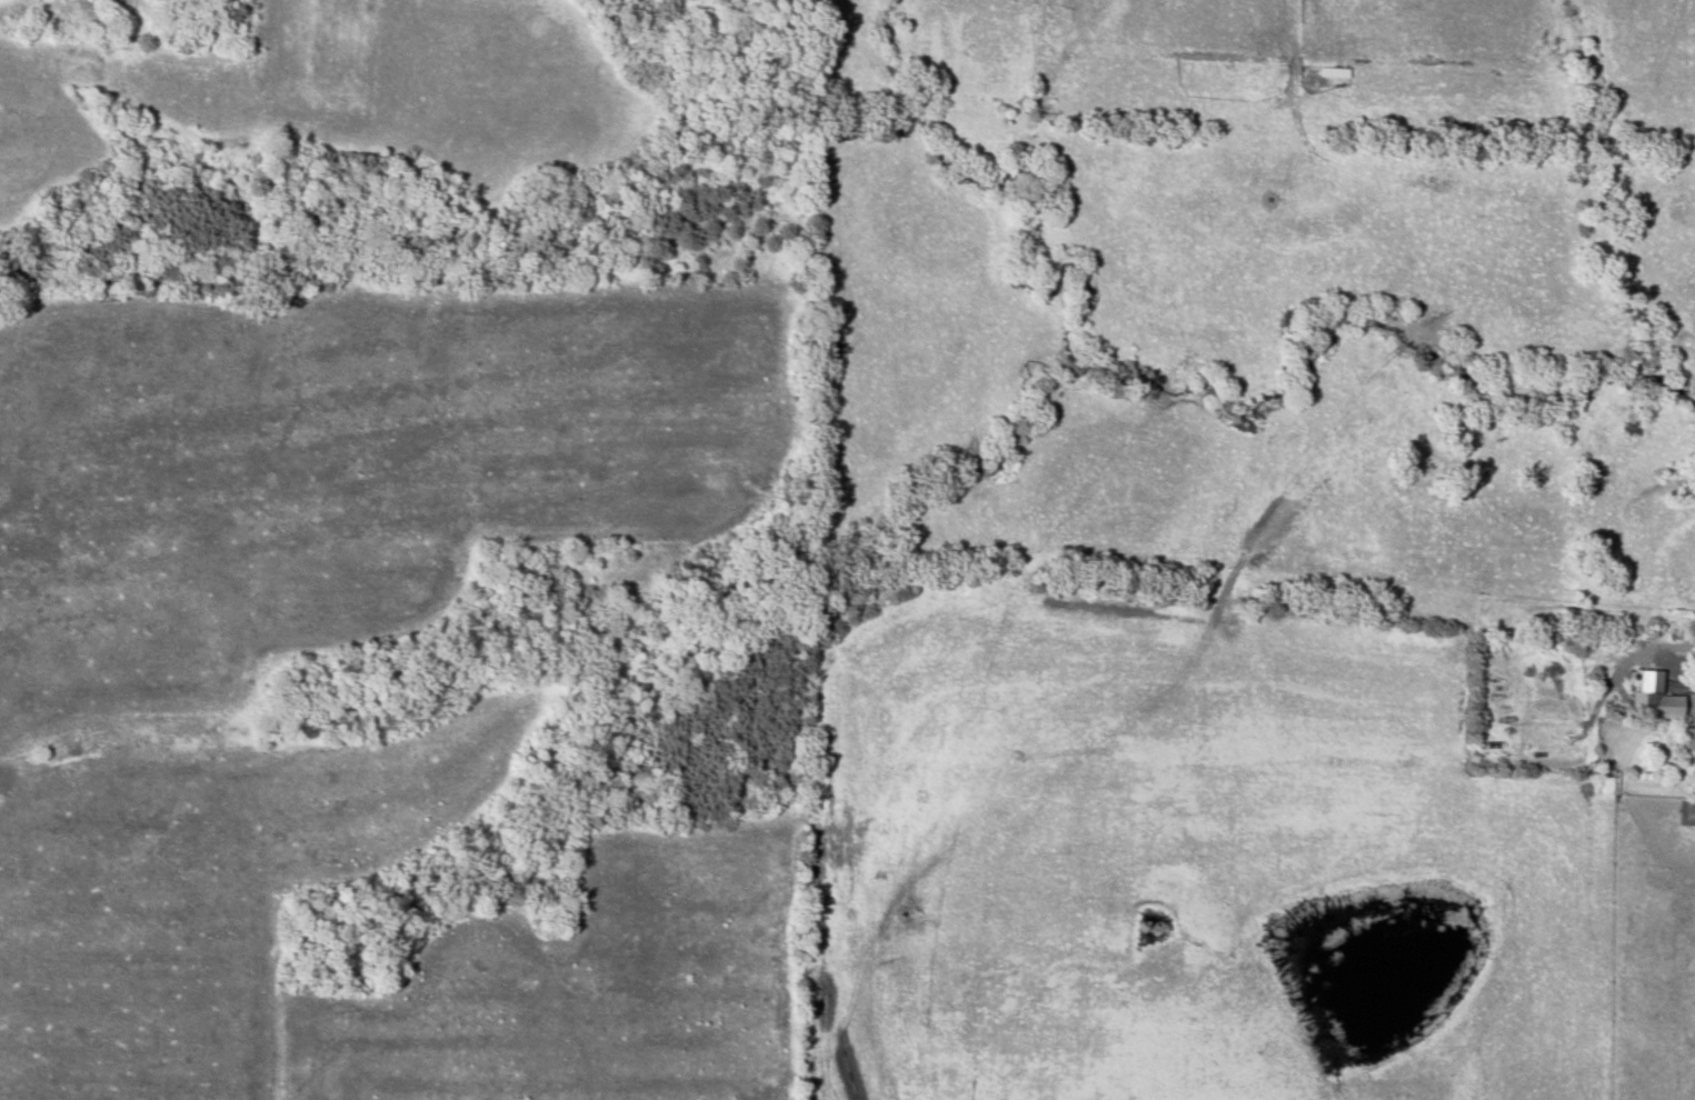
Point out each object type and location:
building: (1652, 708)
building: (1688, 739)

